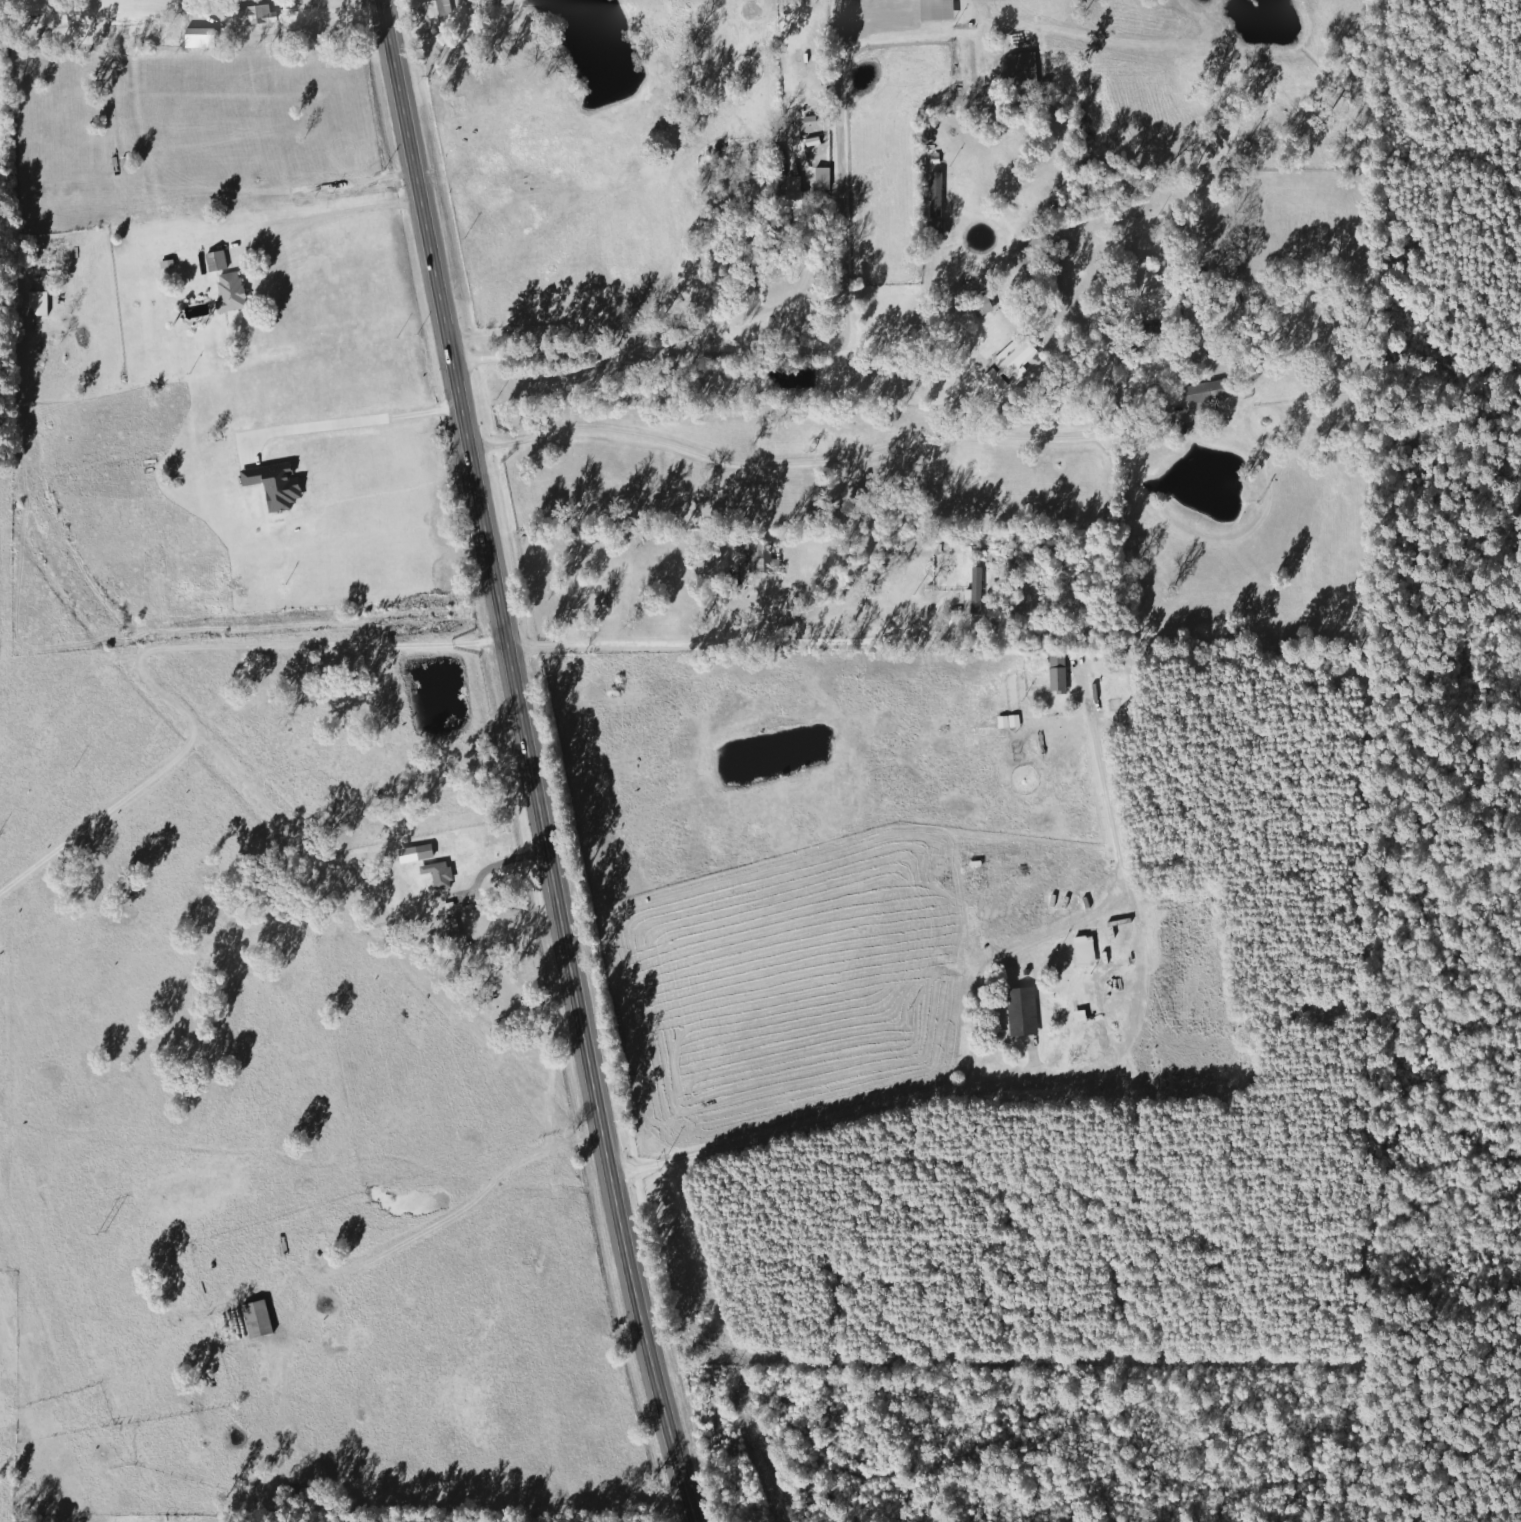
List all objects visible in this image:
building: (437, 8)
building: (933, 10)
building: (251, 16)
road: (304, 27)
building: (196, 38)
building: (1021, 70)
building: (774, 163)
building: (787, 195)
road: (339, 212)
building: (745, 248)
building: (213, 261)
building: (227, 293)
building: (39, 304)
road: (685, 327)
building: (1137, 333)
road: (819, 349)
road: (900, 359)
building: (1006, 363)
building: (1203, 396)
road: (378, 432)
road: (835, 456)
building: (761, 556)
building: (977, 556)
road: (149, 620)
road: (738, 646)
building: (1055, 673)
road: (528, 763)
building: (421, 852)
building: (438, 875)
building: (1039, 907)
road: (1095, 911)
building: (449, 928)
building: (1082, 951)
road: (1146, 977)
building: (1019, 1011)
road: (854, 1115)
road: (460, 1209)
power tower: (98, 1232)
building: (254, 1319)

